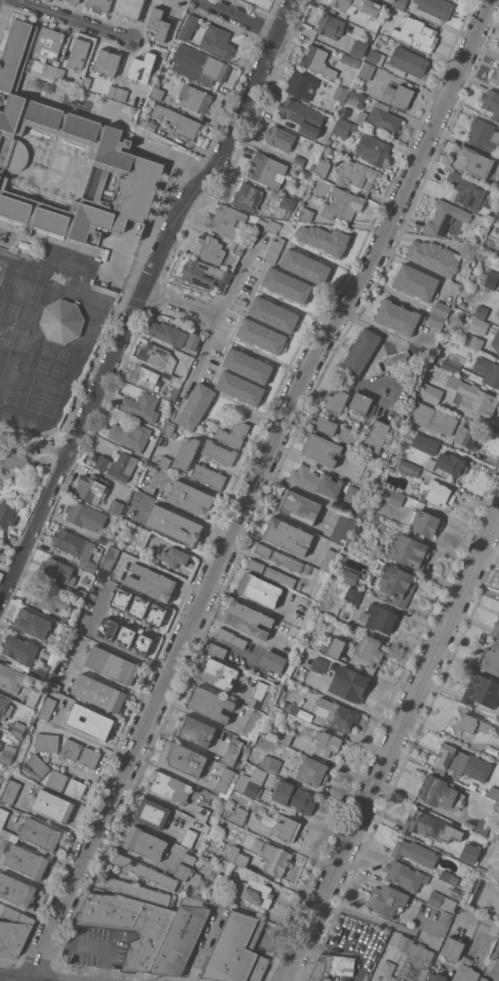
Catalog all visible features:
building: (75, 1)
building: (399, 3)
building: (99, 4)
building: (346, 4)
building: (435, 7)
building: (130, 8)
road: (241, 15)
road: (72, 20)
building: (364, 20)
building: (158, 24)
building: (189, 26)
building: (331, 26)
building: (391, 31)
building: (424, 33)
building: (217, 41)
building: (49, 42)
building: (359, 48)
building: (77, 53)
building: (375, 57)
building: (316, 59)
building: (350, 60)
building: (107, 61)
building: (408, 62)
building: (204, 63)
building: (142, 65)
building: (45, 69)
building: (367, 71)
building: (354, 72)
building: (495, 76)
building: (86, 82)
building: (149, 82)
building: (341, 82)
building: (301, 85)
building: (112, 91)
building: (157, 91)
building: (121, 93)
building: (340, 93)
building: (397, 95)
building: (195, 98)
building: (355, 98)
building: (491, 102)
building: (345, 113)
building: (302, 116)
building: (362, 117)
building: (384, 117)
building: (179, 121)
building: (147, 123)
building: (344, 127)
building: (85, 131)
building: (164, 132)
building: (483, 134)
building: (280, 137)
building: (373, 149)
building: (298, 161)
building: (472, 161)
building: (321, 167)
building: (268, 170)
building: (358, 173)
building: (467, 190)
building: (247, 197)
building: (342, 204)
building: (498, 206)
building: (285, 209)
building: (306, 213)
building: (445, 218)
building: (227, 220)
building: (266, 227)
building: (325, 239)
building: (237, 248)
building: (210, 249)
building: (274, 249)
building: (469, 249)
building: (498, 254)
building: (434, 257)
building: (306, 266)
building: (203, 273)
building: (491, 279)
building: (416, 282)
building: (286, 285)
road: (136, 295)
building: (243, 302)
building: (462, 304)
road: (178, 305)
building: (441, 308)
building: (498, 310)
building: (481, 311)
road: (219, 314)
building: (273, 314)
building: (498, 315)
building: (397, 317)
building: (436, 320)
building: (62, 321)
building: (478, 324)
building: (168, 333)
building: (261, 335)
building: (193, 341)
building: (473, 341)
building: (495, 341)
building: (360, 352)
building: (157, 356)
building: (186, 359)
building: (397, 359)
building: (446, 364)
building: (248, 365)
building: (488, 371)
building: (144, 377)
building: (451, 381)
building: (173, 385)
building: (239, 388)
building: (434, 393)
building: (476, 400)
building: (336, 401)
building: (360, 403)
building: (142, 406)
building: (196, 406)
building: (431, 417)
building: (410, 424)
building: (325, 425)
building: (169, 430)
building: (233, 434)
building: (131, 435)
building: (376, 435)
building: (349, 436)
building: (469, 436)
building: (425, 443)
building: (321, 449)
building: (219, 452)
building: (186, 453)
building: (20, 454)
building: (165, 462)
building: (451, 464)
building: (117, 465)
building: (409, 467)
building: (208, 475)
building: (445, 476)
building: (315, 481)
road: (252, 485)
building: (91, 487)
building: (388, 491)
building: (353, 493)
building: (440, 493)
building: (189, 497)
building: (396, 498)
building: (115, 506)
building: (298, 506)
building: (6, 515)
building: (88, 516)
building: (424, 522)
building: (174, 524)
building: (341, 529)
building: (287, 535)
building: (133, 536)
building: (143, 536)
building: (104, 539)
building: (0, 543)
building: (73, 543)
building: (0, 548)
building: (262, 549)
building: (410, 551)
building: (173, 556)
building: (110, 557)
building: (329, 560)
building: (287, 561)
building: (90, 566)
building: (255, 566)
building: (308, 569)
building: (58, 570)
building: (279, 577)
building: (350, 577)
building: (151, 582)
building: (396, 584)
building: (259, 590)
building: (79, 594)
building: (353, 595)
building: (44, 597)
building: (121, 598)
building: (139, 605)
building: (156, 613)
building: (381, 618)
building: (247, 619)
building: (65, 620)
building: (32, 623)
building: (107, 629)
building: (496, 629)
building: (125, 637)
building: (230, 637)
building: (142, 645)
building: (56, 646)
building: (334, 647)
building: (20, 649)
building: (217, 650)
building: (368, 653)
building: (491, 659)
building: (272, 660)
building: (319, 664)
building: (112, 665)
building: (41, 671)
building: (218, 673)
building: (10, 678)
building: (349, 684)
building: (56, 686)
building: (481, 691)
building: (256, 692)
building: (99, 693)
building: (33, 698)
building: (210, 704)
building: (290, 707)
building: (5, 708)
building: (47, 708)
building: (337, 713)
building: (38, 722)
building: (90, 722)
building: (469, 723)
building: (251, 725)
building: (19, 728)
building: (304, 728)
building: (0, 730)
building: (194, 730)
building: (285, 737)
building: (47, 742)
building: (0, 743)
building: (325, 743)
road: (191, 744)
road: (393, 746)
building: (70, 748)
building: (232, 751)
building: (8, 754)
building: (89, 757)
building: (498, 757)
building: (183, 758)
building: (270, 763)
building: (461, 763)
building: (36, 766)
building: (312, 772)
road: (179, 773)
building: (1, 779)
building: (57, 780)
building: (227, 781)
building: (248, 785)
building: (169, 787)
building: (75, 788)
building: (10, 791)
building: (440, 793)
building: (493, 793)
building: (293, 798)
building: (53, 805)
building: (496, 805)
building: (400, 807)
building: (205, 811)
building: (151, 814)
building: (237, 815)
building: (2, 819)
building: (224, 824)
building: (282, 826)
building: (430, 826)
building: (482, 827)
building: (40, 833)
building: (189, 838)
building: (145, 843)
building: (414, 852)
building: (469, 852)
building: (238, 856)
building: (275, 859)
building: (27, 861)
building: (183, 866)
building: (206, 869)
building: (479, 870)
building: (145, 871)
building: (404, 875)
building: (447, 876)
building: (196, 878)
building: (221, 880)
building: (16, 890)
building: (138, 890)
building: (254, 891)
building: (457, 891)
building: (387, 900)
building: (441, 901)
road: (28, 911)
building: (129, 924)
building: (14, 931)
building: (180, 937)
building: (403, 942)
road: (92, 946)
building: (452, 947)
building: (237, 950)
building: (416, 963)
building: (332, 966)
building: (388, 967)
building: (466, 971)
building: (437, 974)
road: (19, 978)
building: (483, 979)

